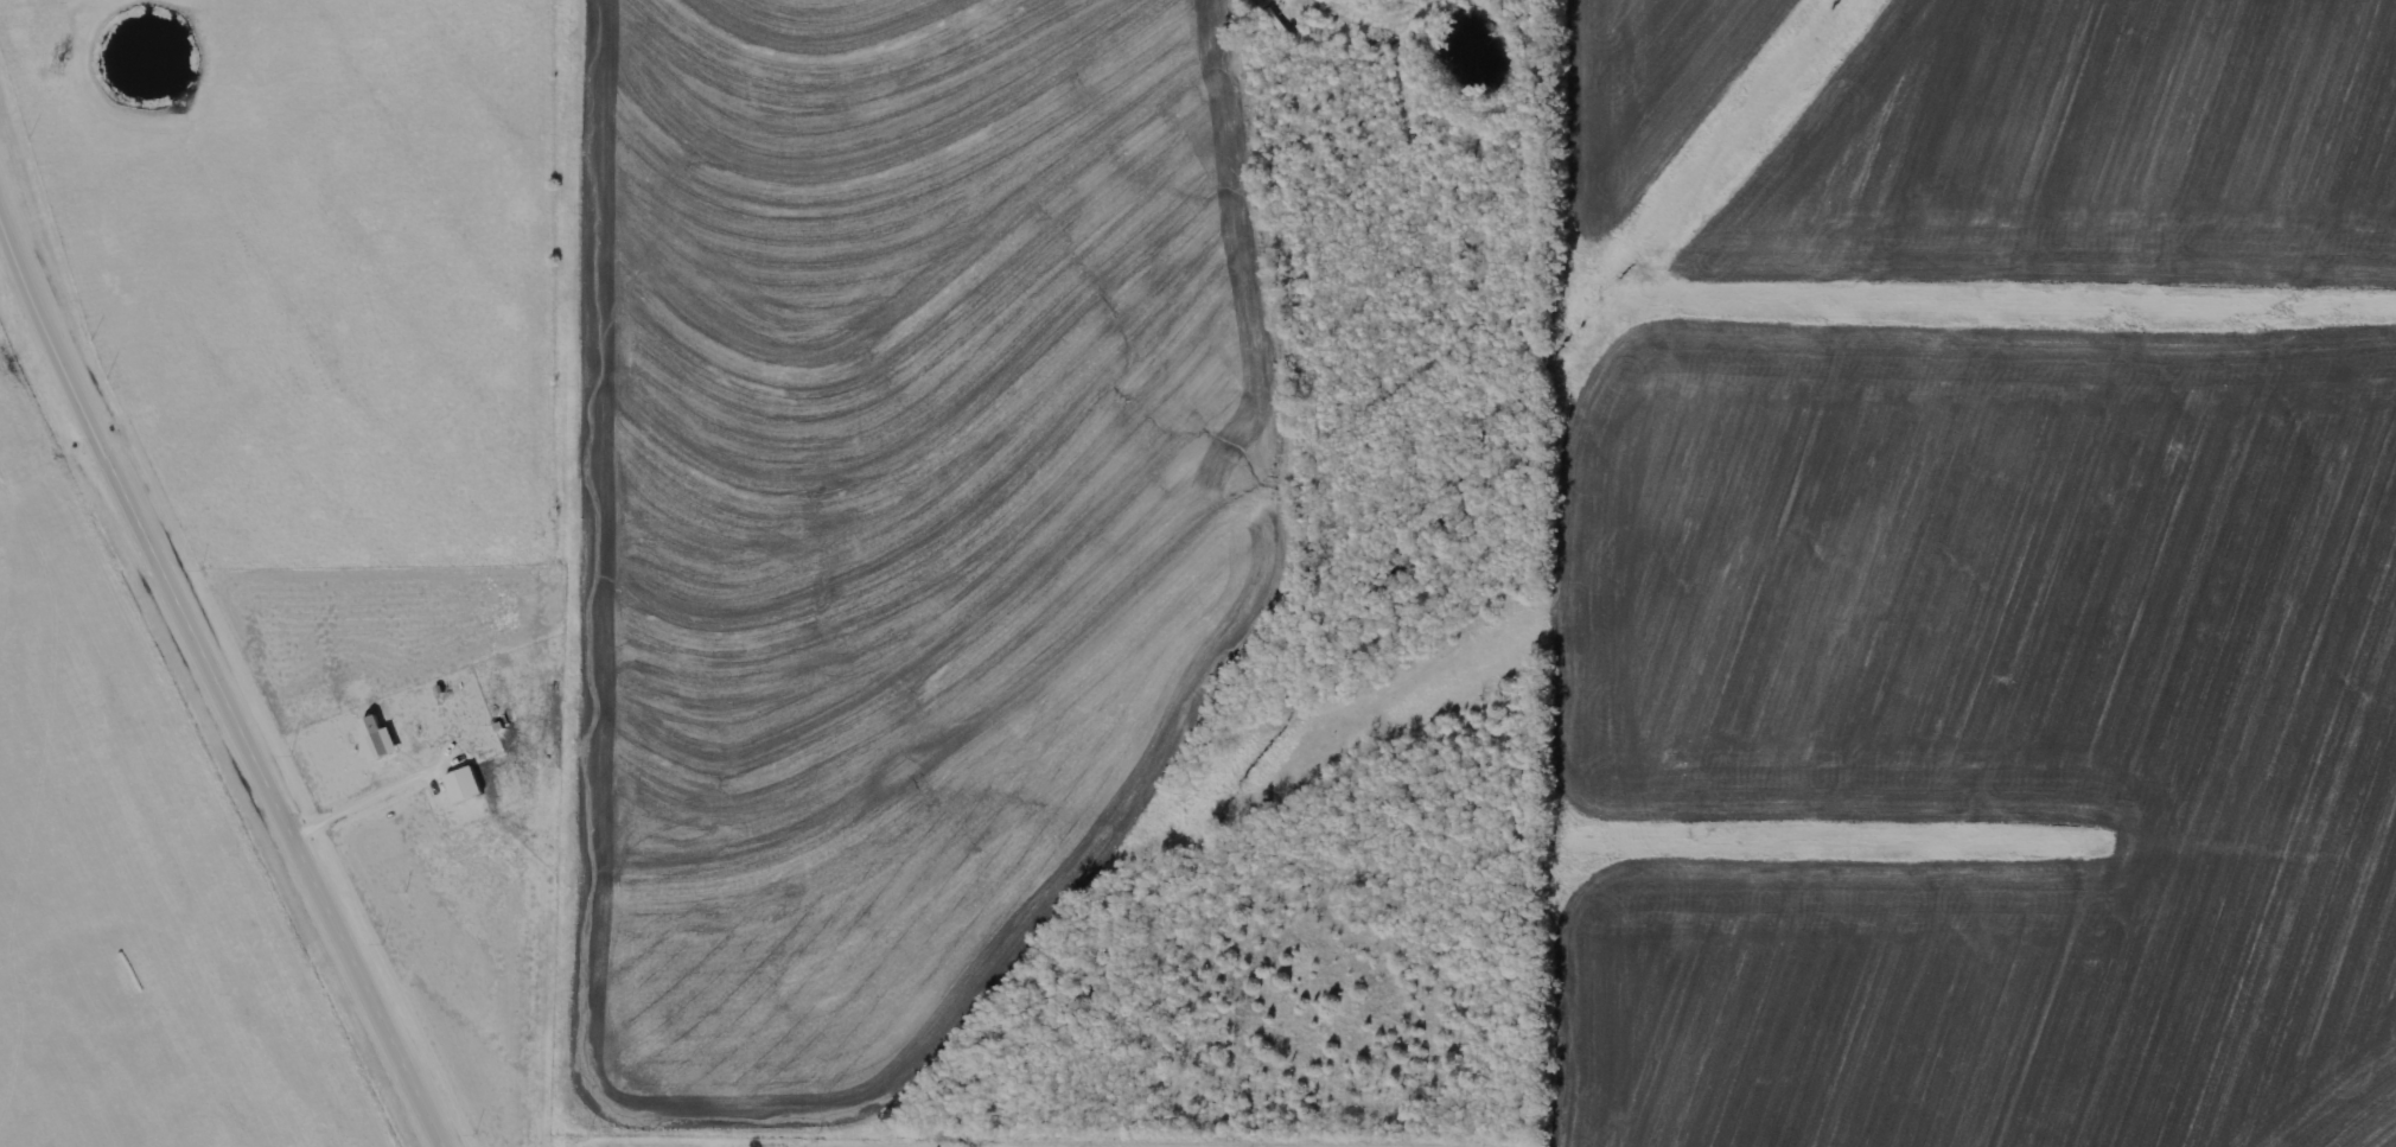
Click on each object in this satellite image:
road: (556, 573)
road: (214, 693)
building: (381, 741)
building: (467, 785)

